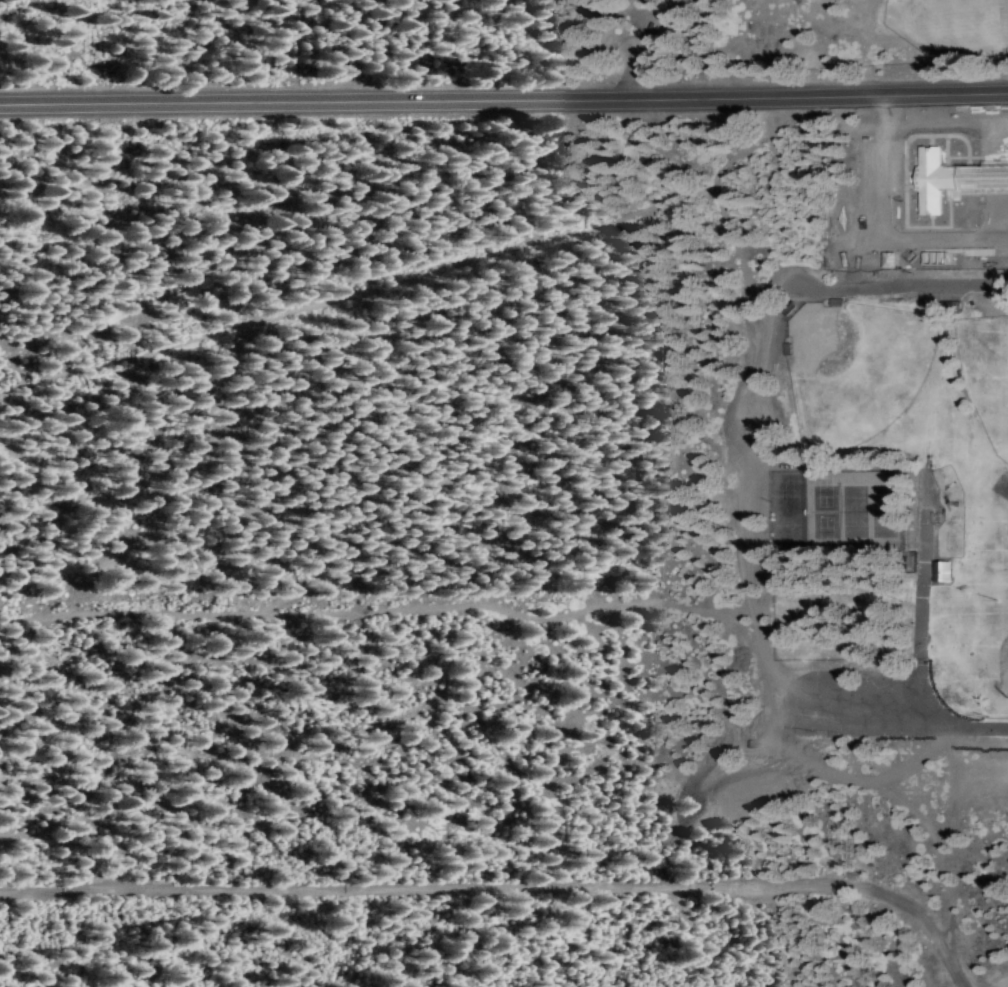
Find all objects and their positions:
road: (504, 95)
building: (993, 199)
building: (912, 212)
road: (905, 289)
park: (862, 507)
building: (942, 570)
road: (756, 593)
road: (511, 884)

